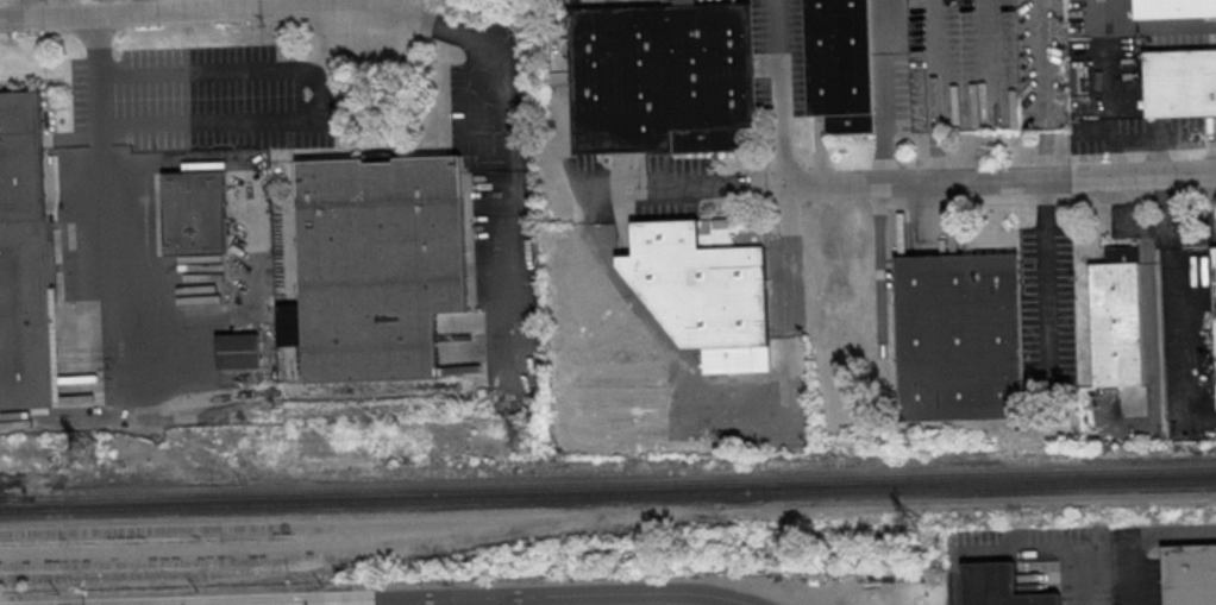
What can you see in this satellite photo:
road: (372, 2)
road: (145, 7)
building: (1173, 8)
road: (186, 12)
road: (339, 32)
building: (839, 64)
building: (659, 77)
building: (1180, 82)
road: (1042, 89)
road: (935, 90)
road: (886, 92)
road: (318, 93)
road: (782, 93)
road: (503, 156)
road: (978, 181)
road: (100, 182)
building: (194, 212)
building: (23, 257)
building: (377, 263)
road: (1045, 279)
building: (1215, 279)
road: (1171, 289)
building: (706, 291)
building: (1116, 317)
building: (959, 336)
building: (237, 349)
road: (666, 351)
power tower: (526, 442)
power tower: (87, 454)
railway: (625, 483)
railway: (608, 494)
railway: (17, 497)
railway: (17, 498)
railway: (608, 506)
power tower: (908, 517)
railway: (295, 525)
road: (1142, 535)
railway: (244, 538)
railway: (206, 550)
railway: (344, 555)
road: (1024, 557)
railway: (156, 562)
building: (1190, 574)
building: (999, 586)
road: (459, 599)
road: (396, 603)
road: (457, 603)

